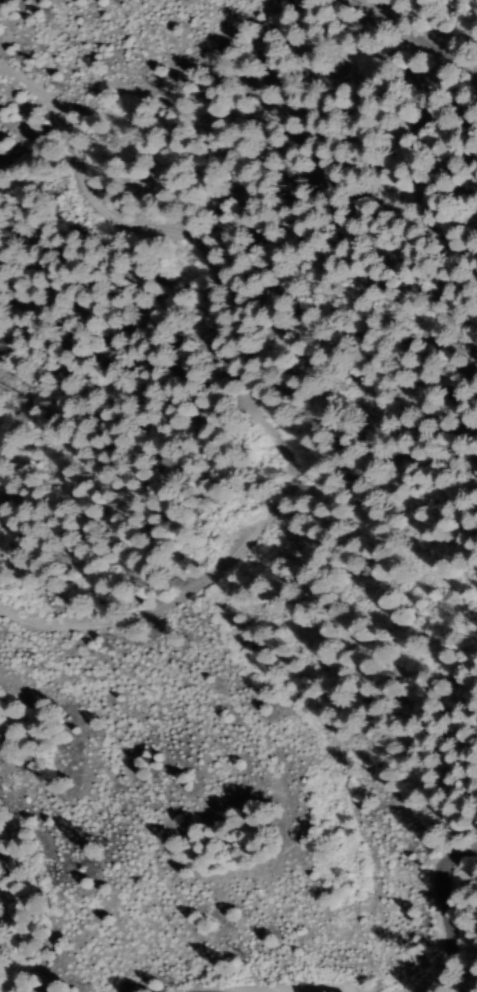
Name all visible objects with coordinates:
road: (454, 922)

